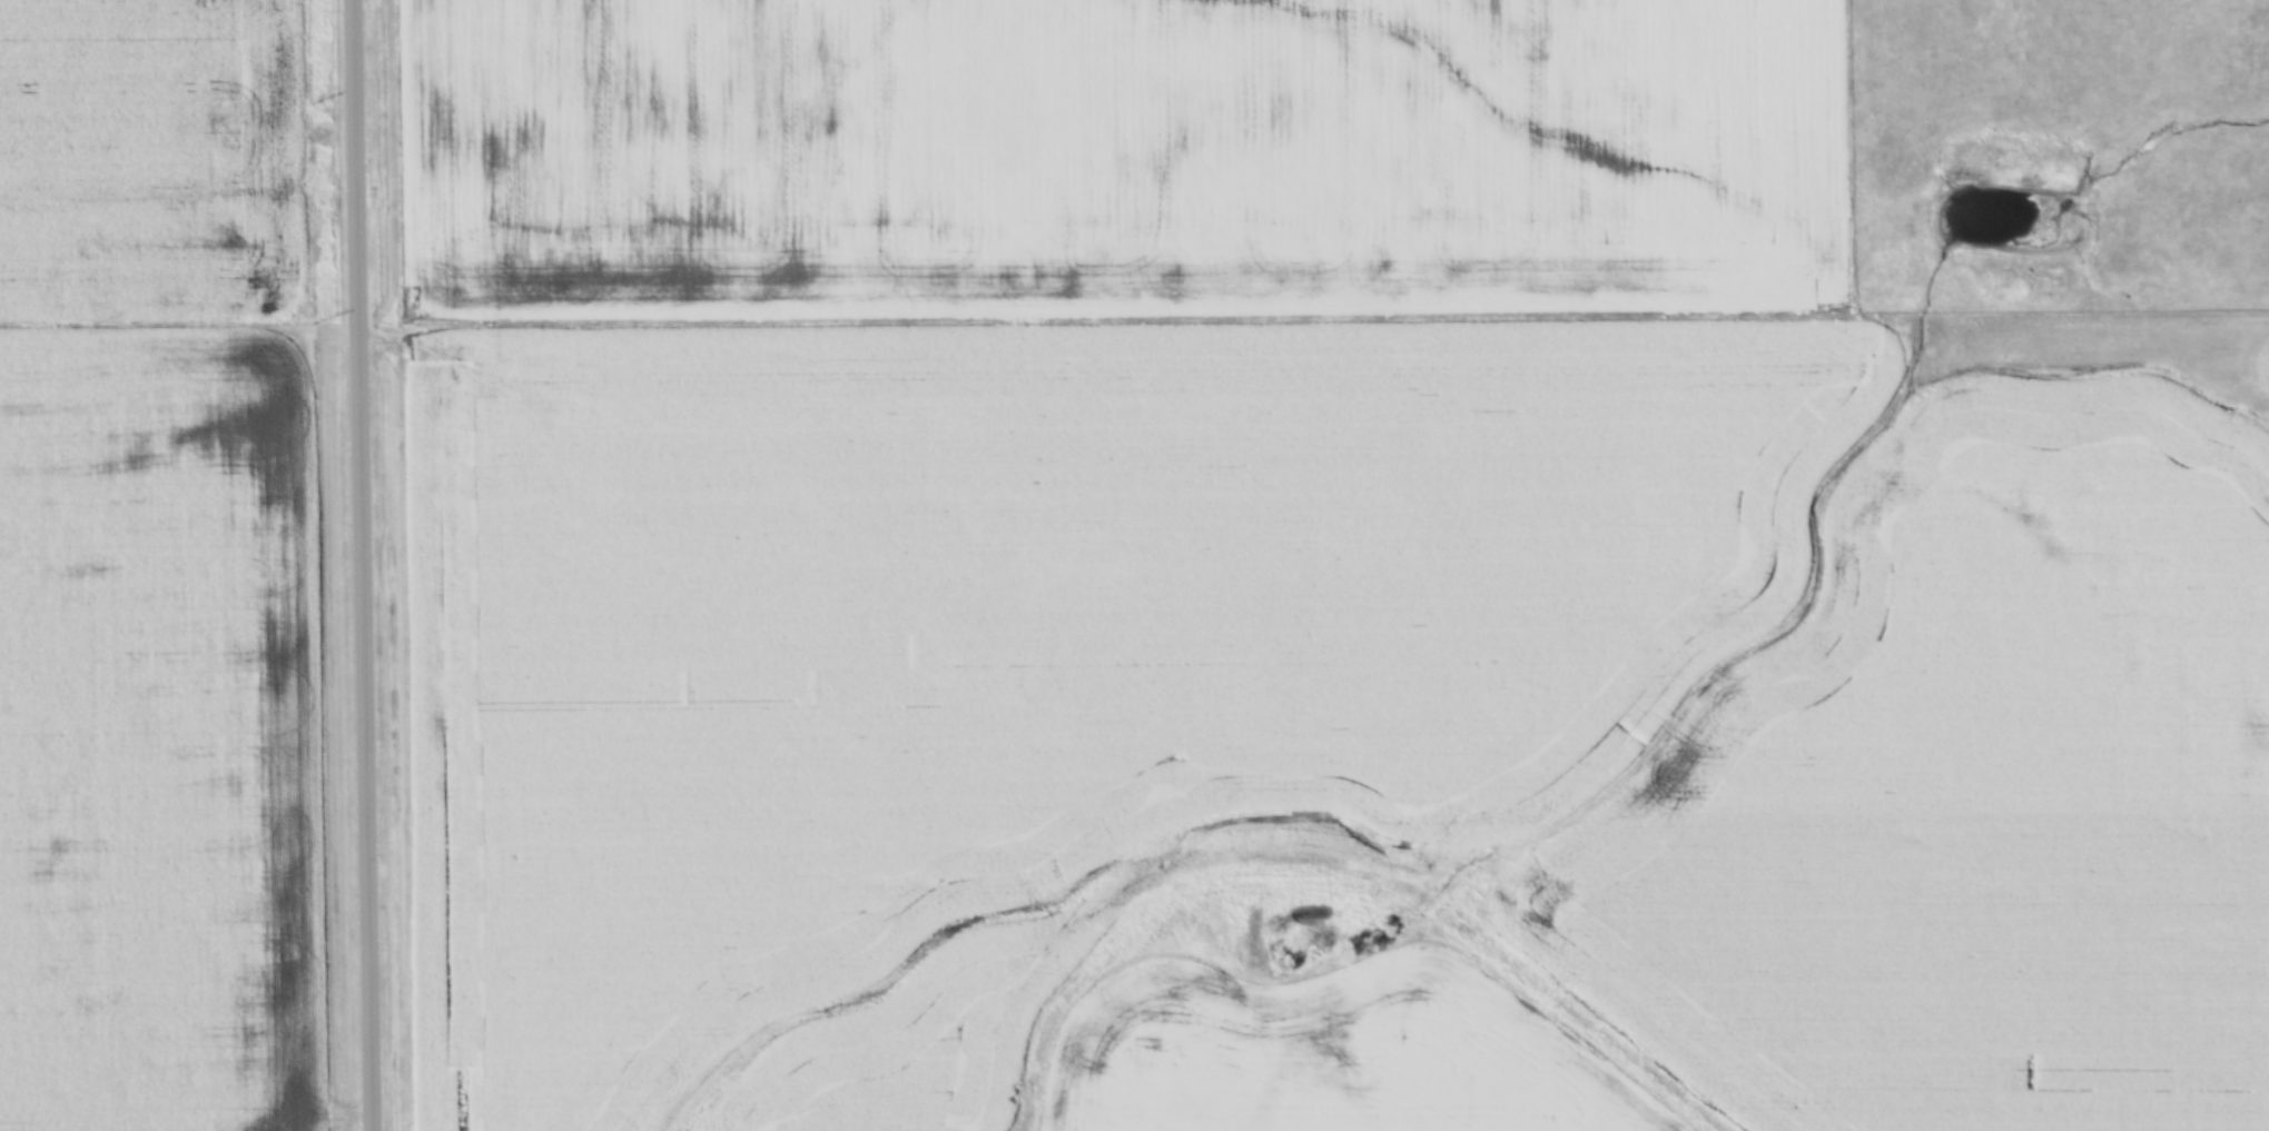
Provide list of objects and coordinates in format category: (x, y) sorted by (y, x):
road: (359, 565)

